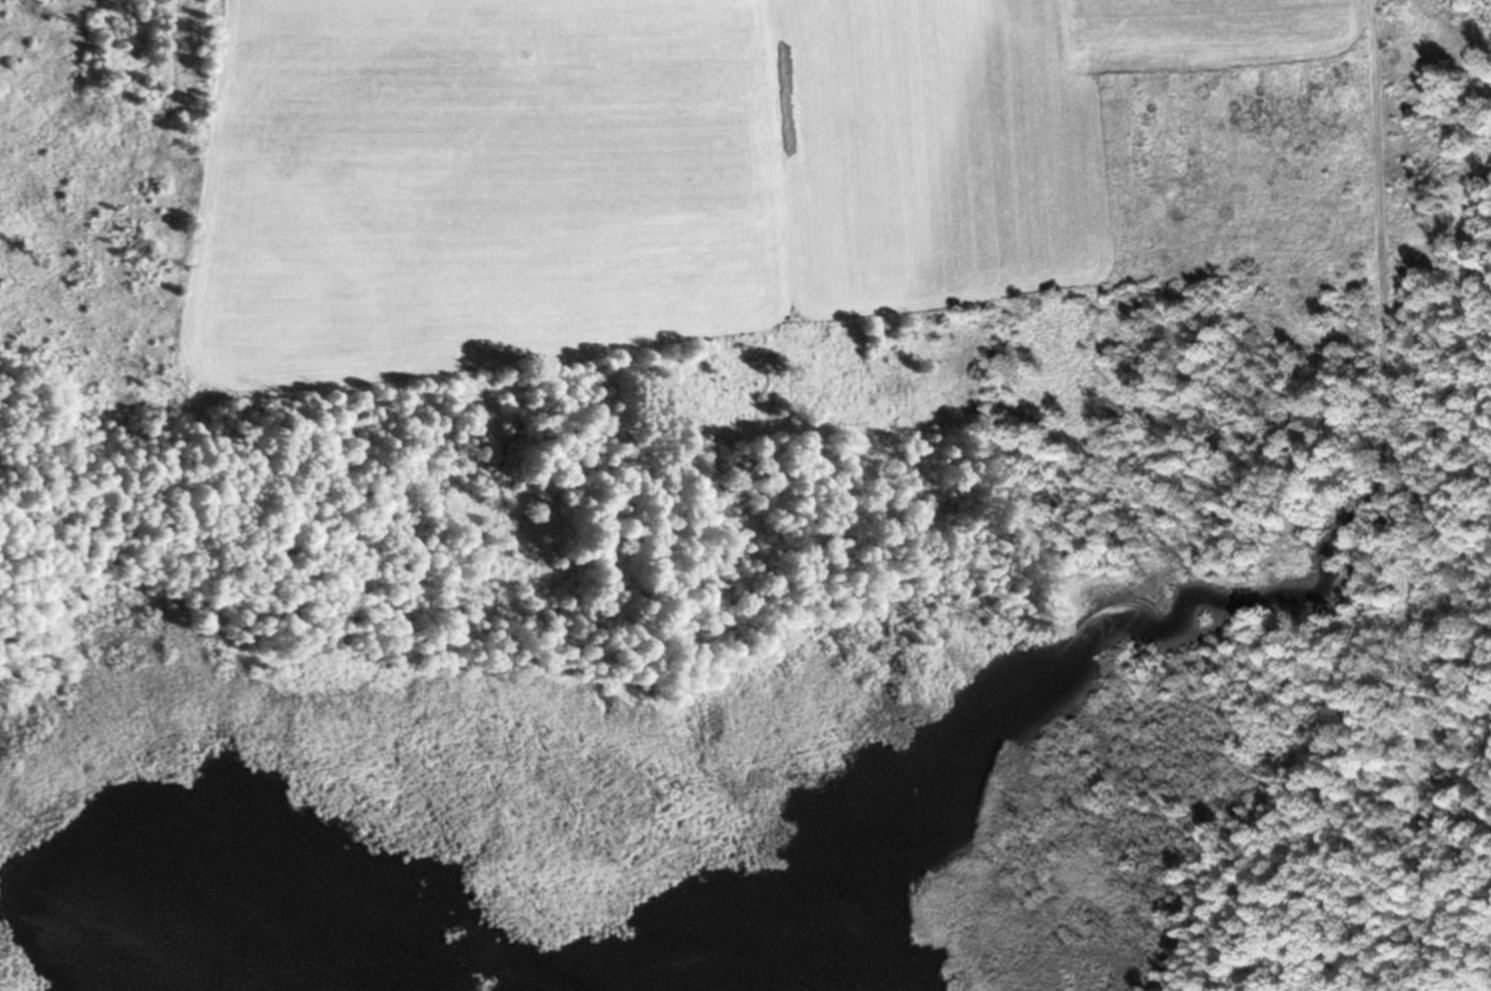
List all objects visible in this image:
crop: (1114, 144)
crop: (1467, 983)

